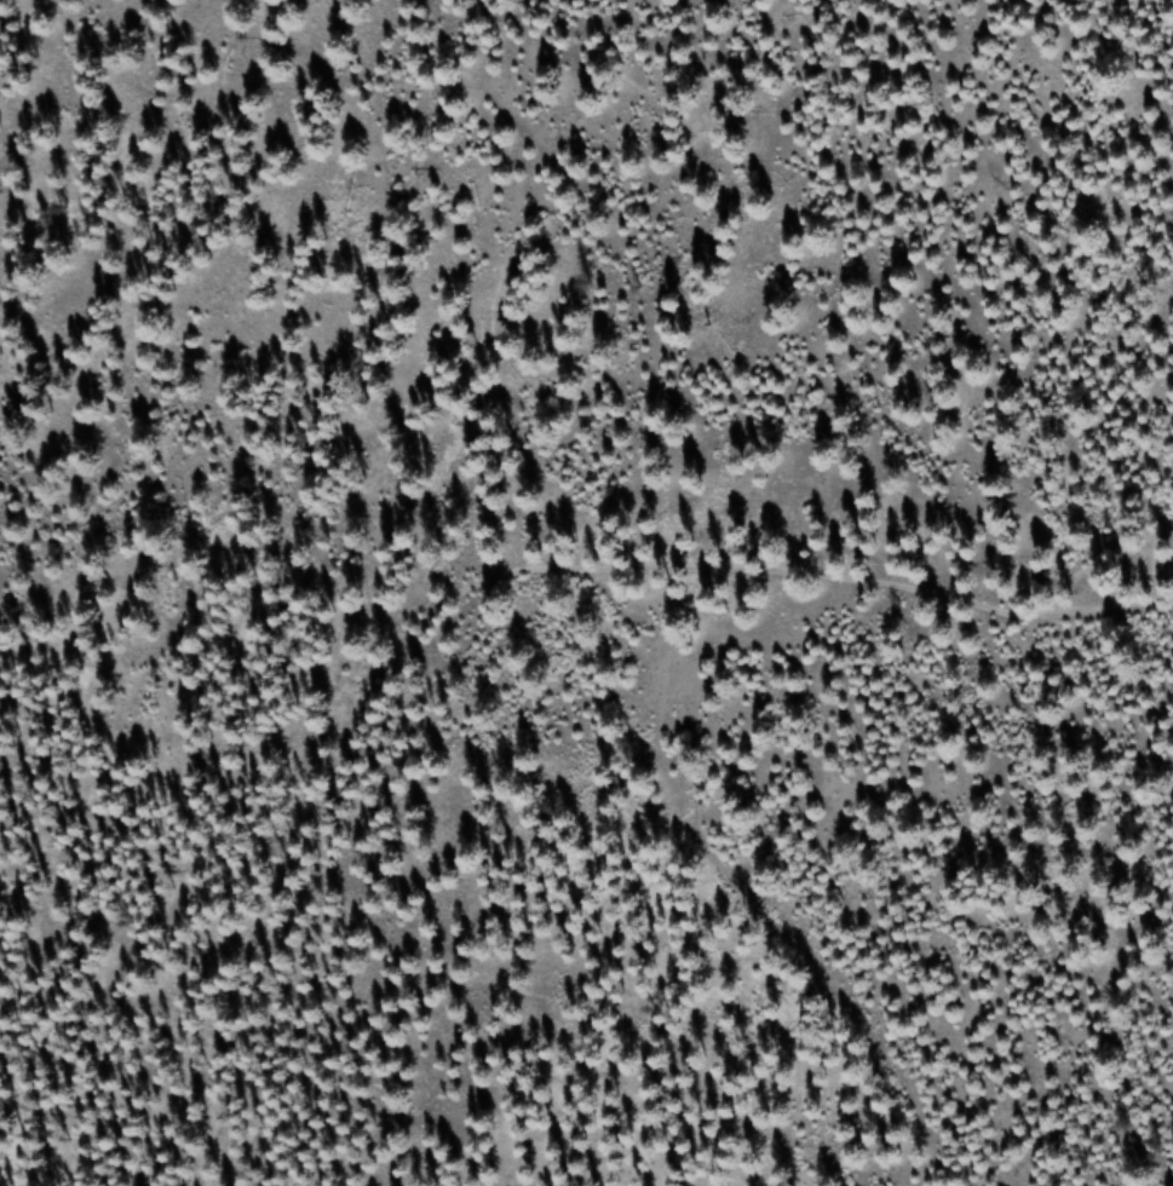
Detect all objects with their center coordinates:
road: (477, 606)

